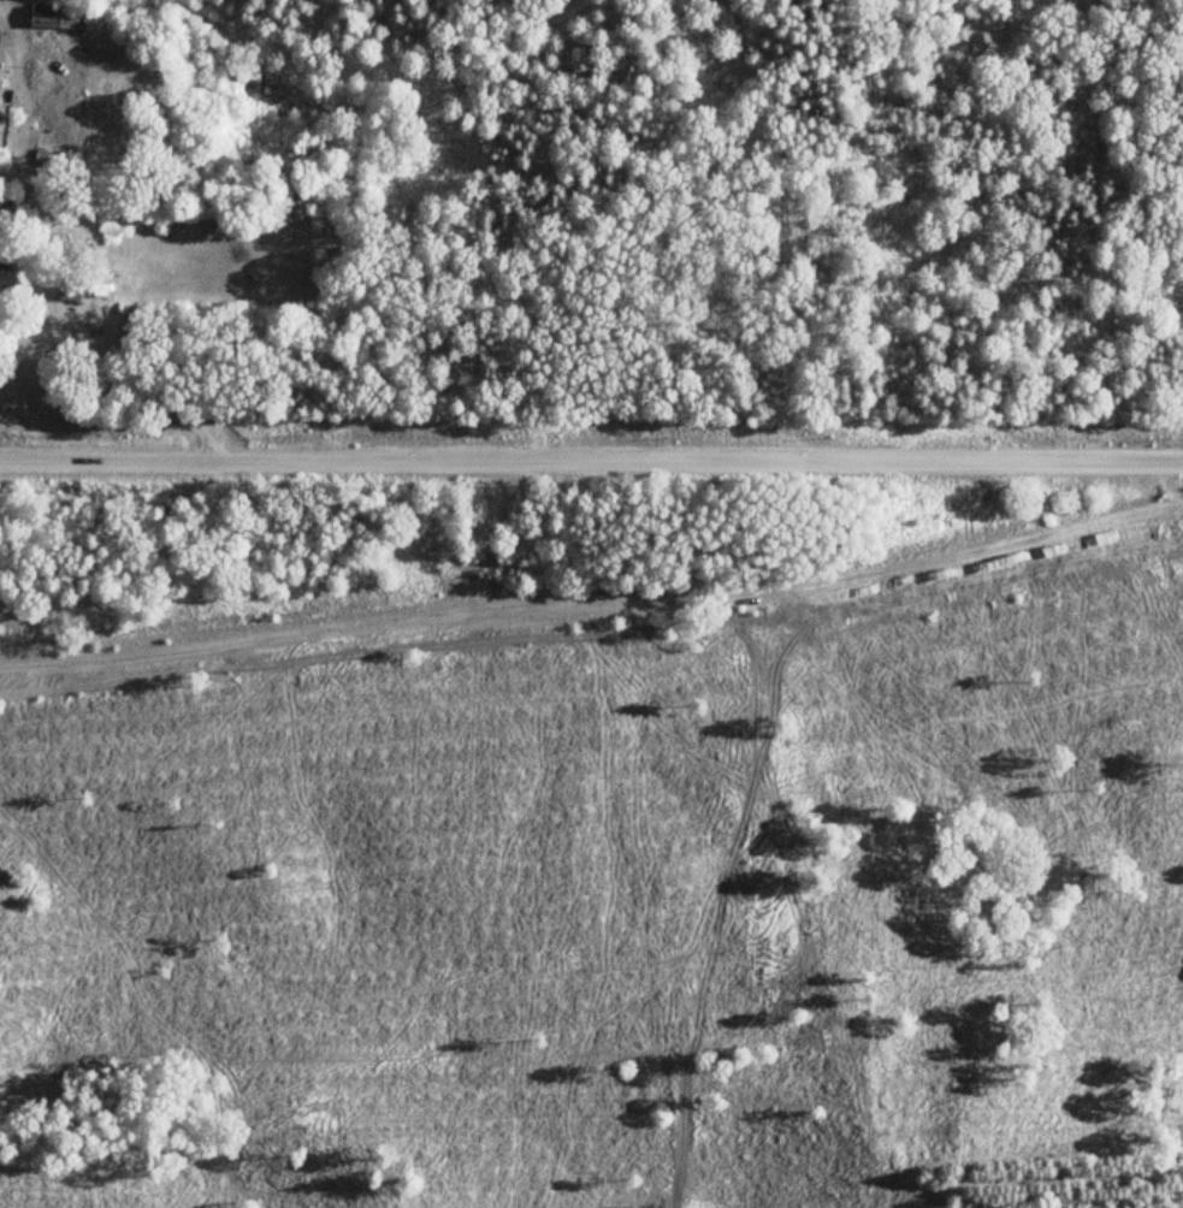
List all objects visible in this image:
building: (48, 17)
road: (591, 457)

